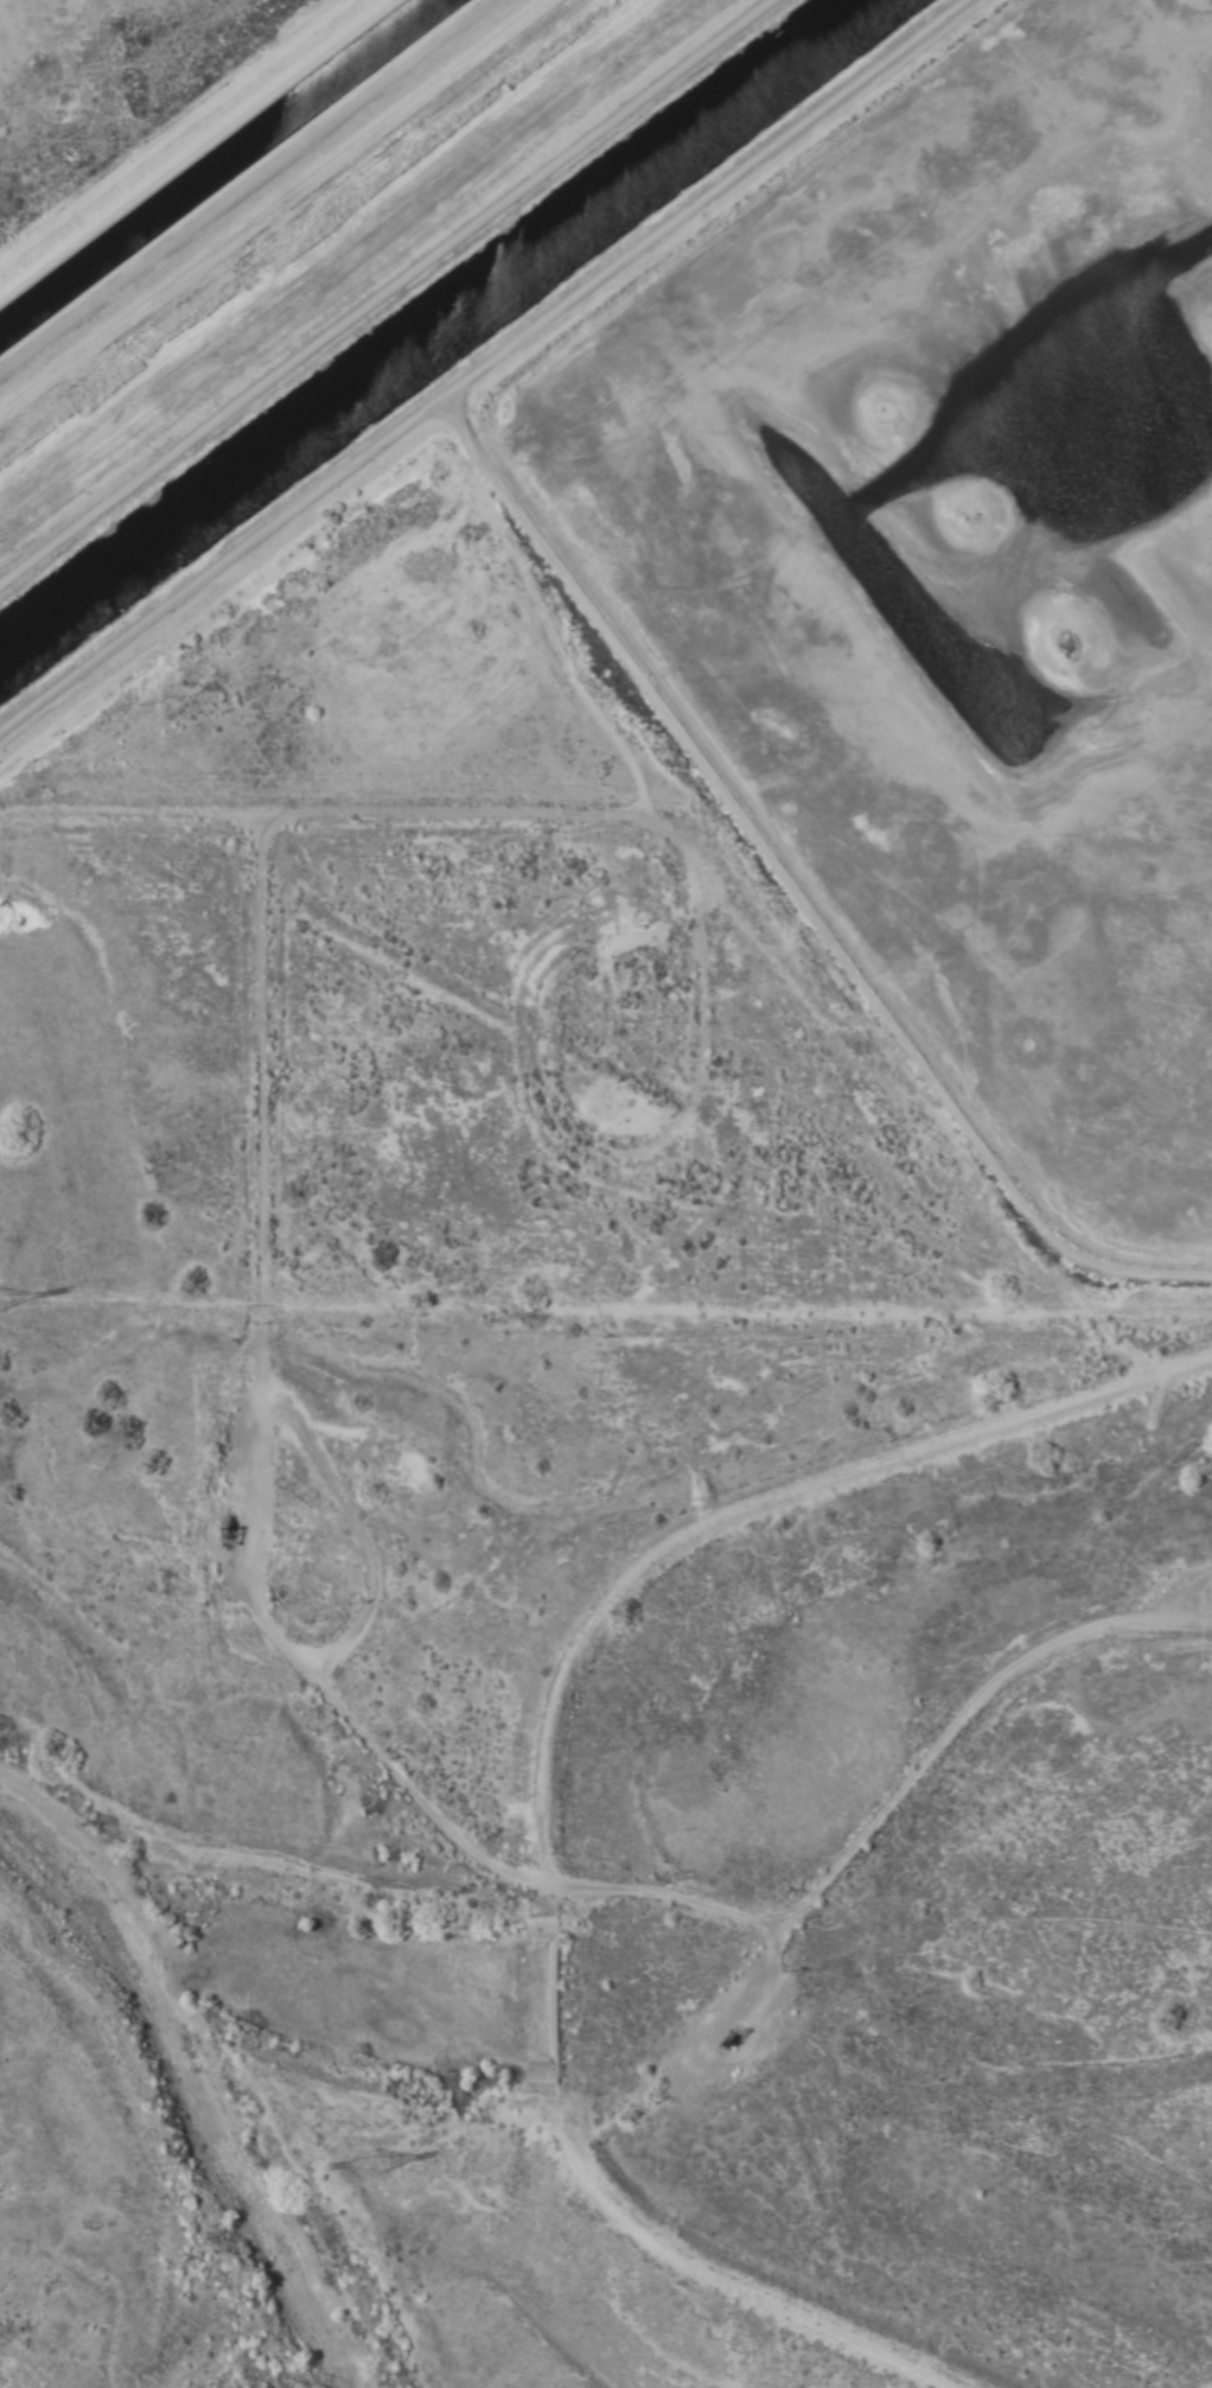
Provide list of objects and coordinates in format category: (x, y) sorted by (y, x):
crop: (126, 95)
road: (690, 192)
road: (588, 596)
road: (753, 1490)
road: (415, 1714)
wastewater plant: (445, 1962)
power tower: (364, 2165)
road: (682, 2230)

